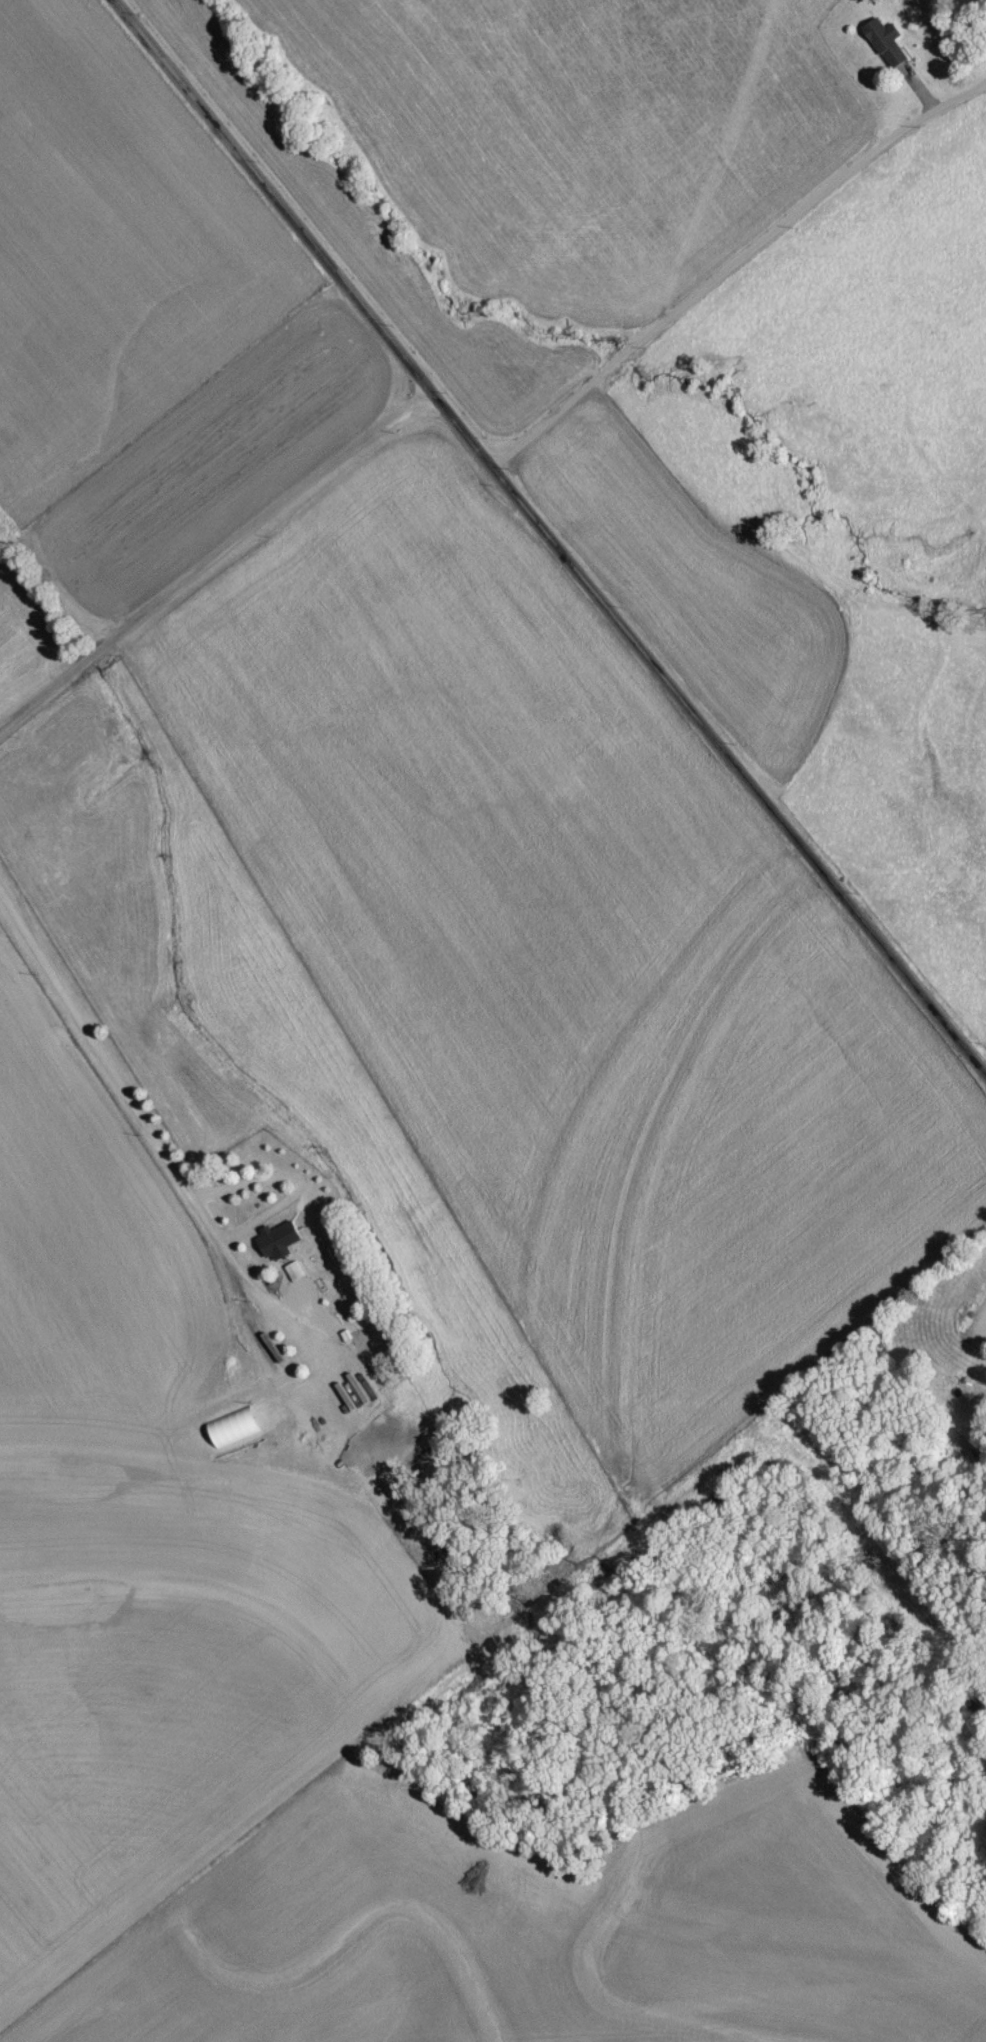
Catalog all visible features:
building: (887, 49)
road: (740, 269)
road: (554, 533)
road: (220, 563)
road: (108, 1068)
building: (272, 1254)
building: (294, 1276)
building: (360, 1403)

